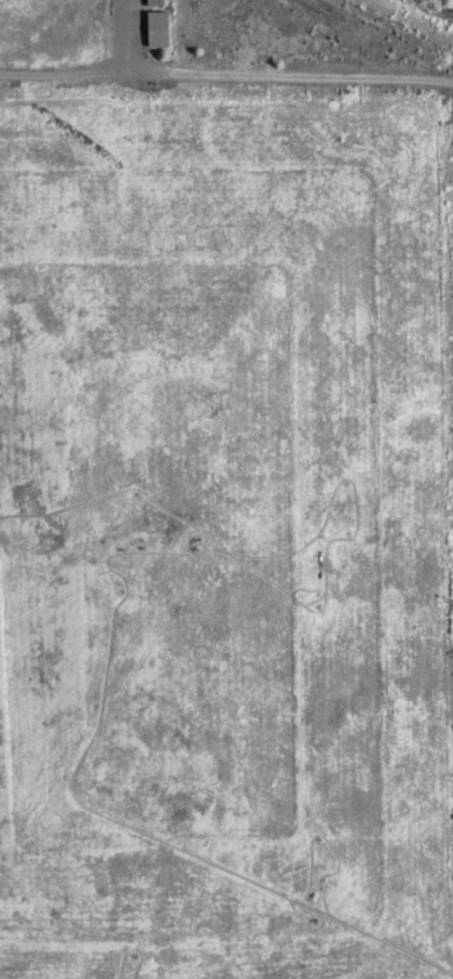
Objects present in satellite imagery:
building: (156, 7)
building: (159, 38)
road: (253, 85)

